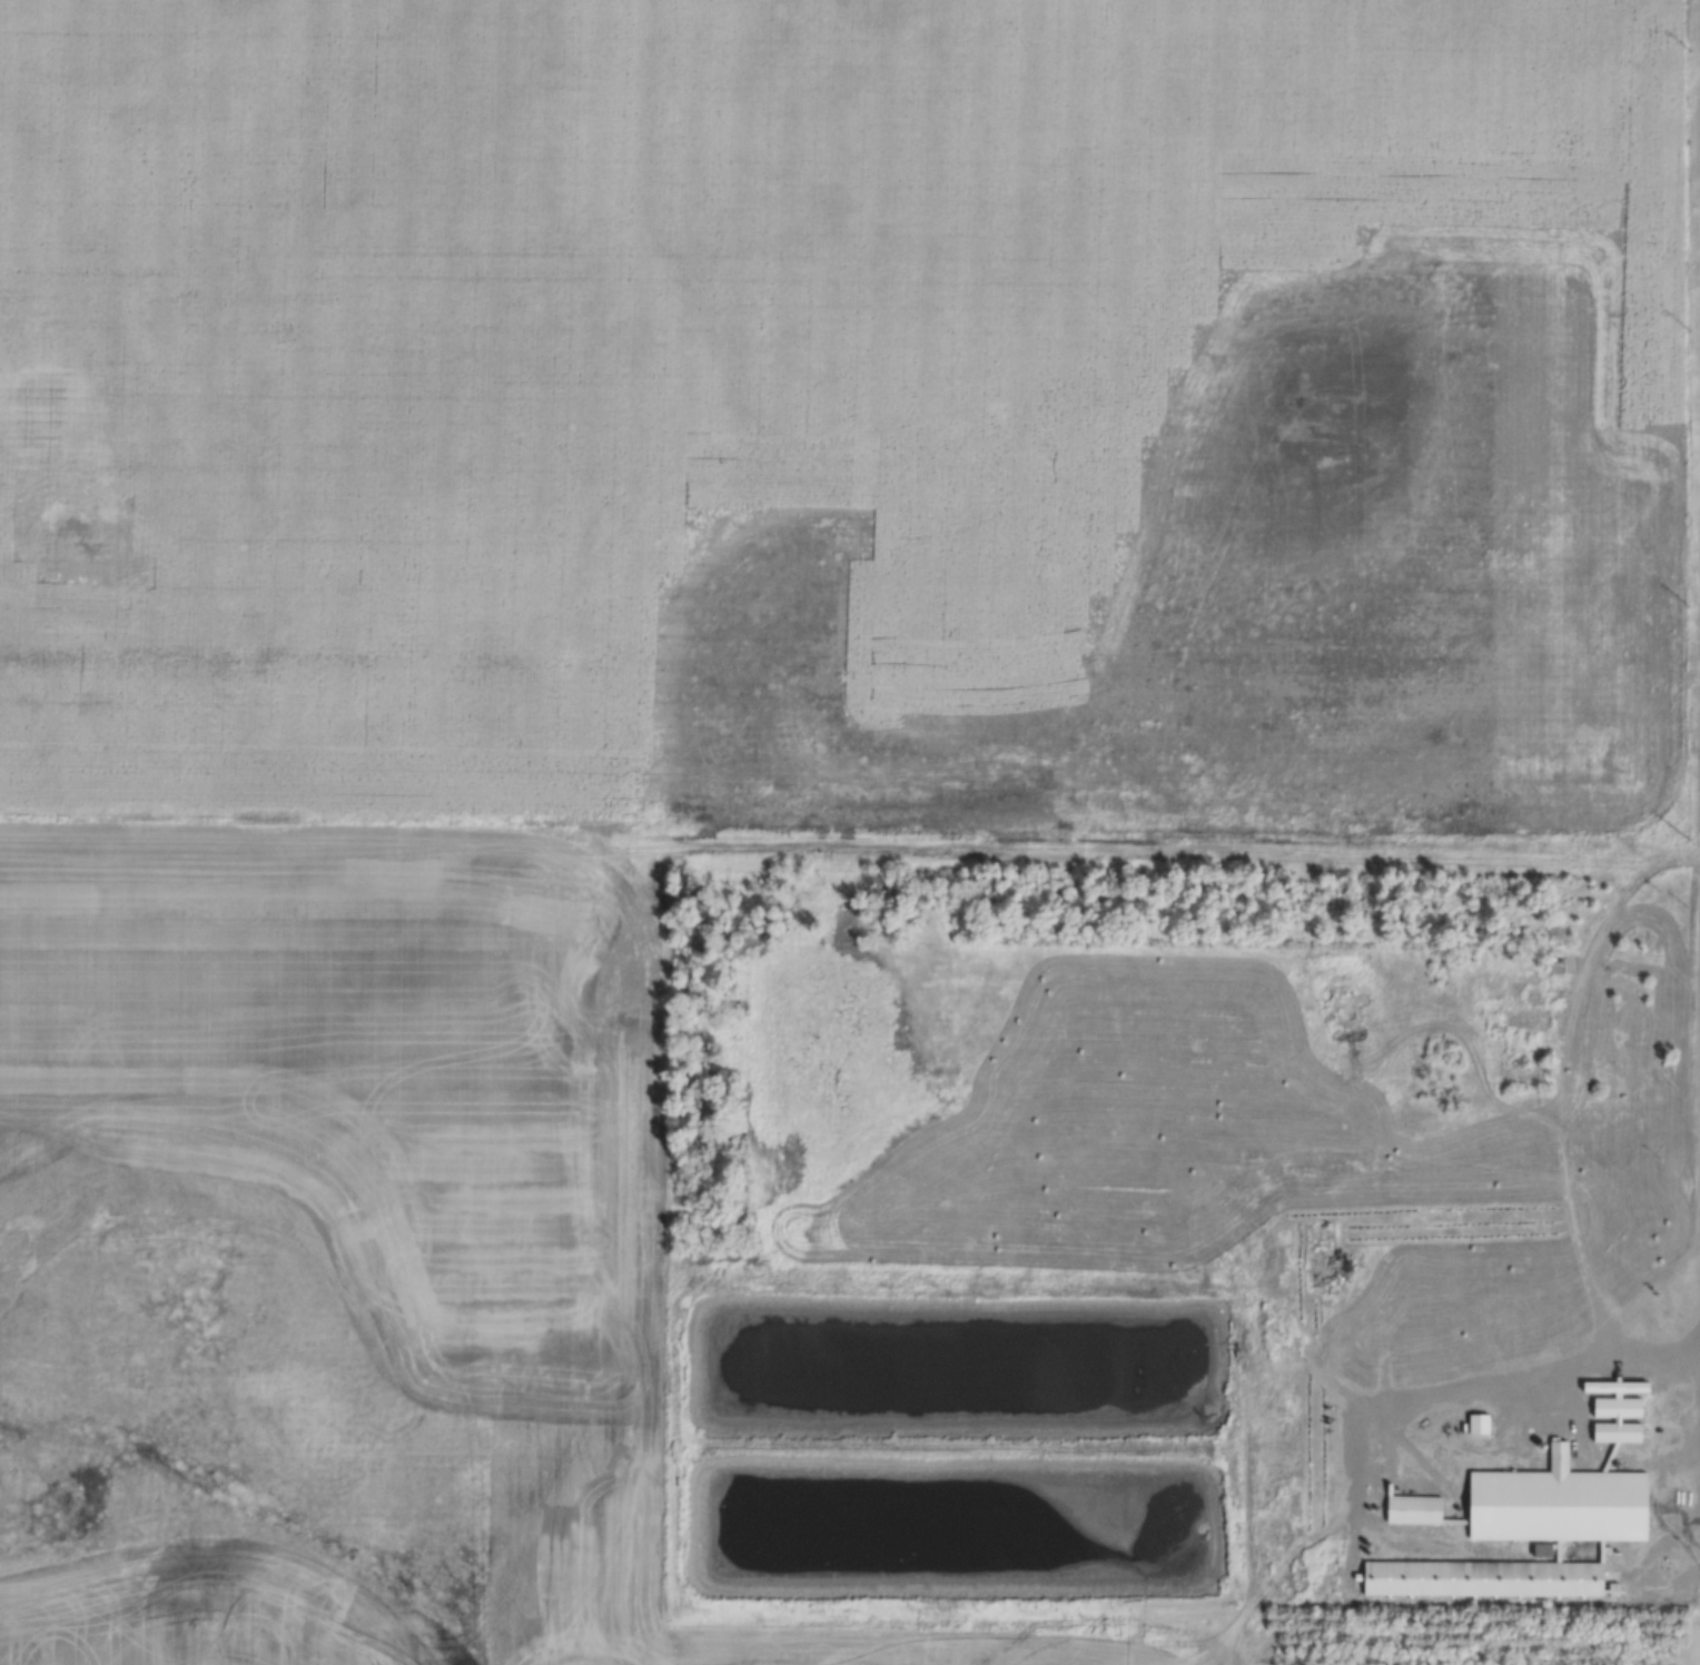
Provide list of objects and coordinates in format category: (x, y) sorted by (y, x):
building: (1538, 981)
building: (1611, 1419)
building: (1474, 1423)
building: (1561, 1502)
building: (1406, 1509)
building: (1539, 1579)

